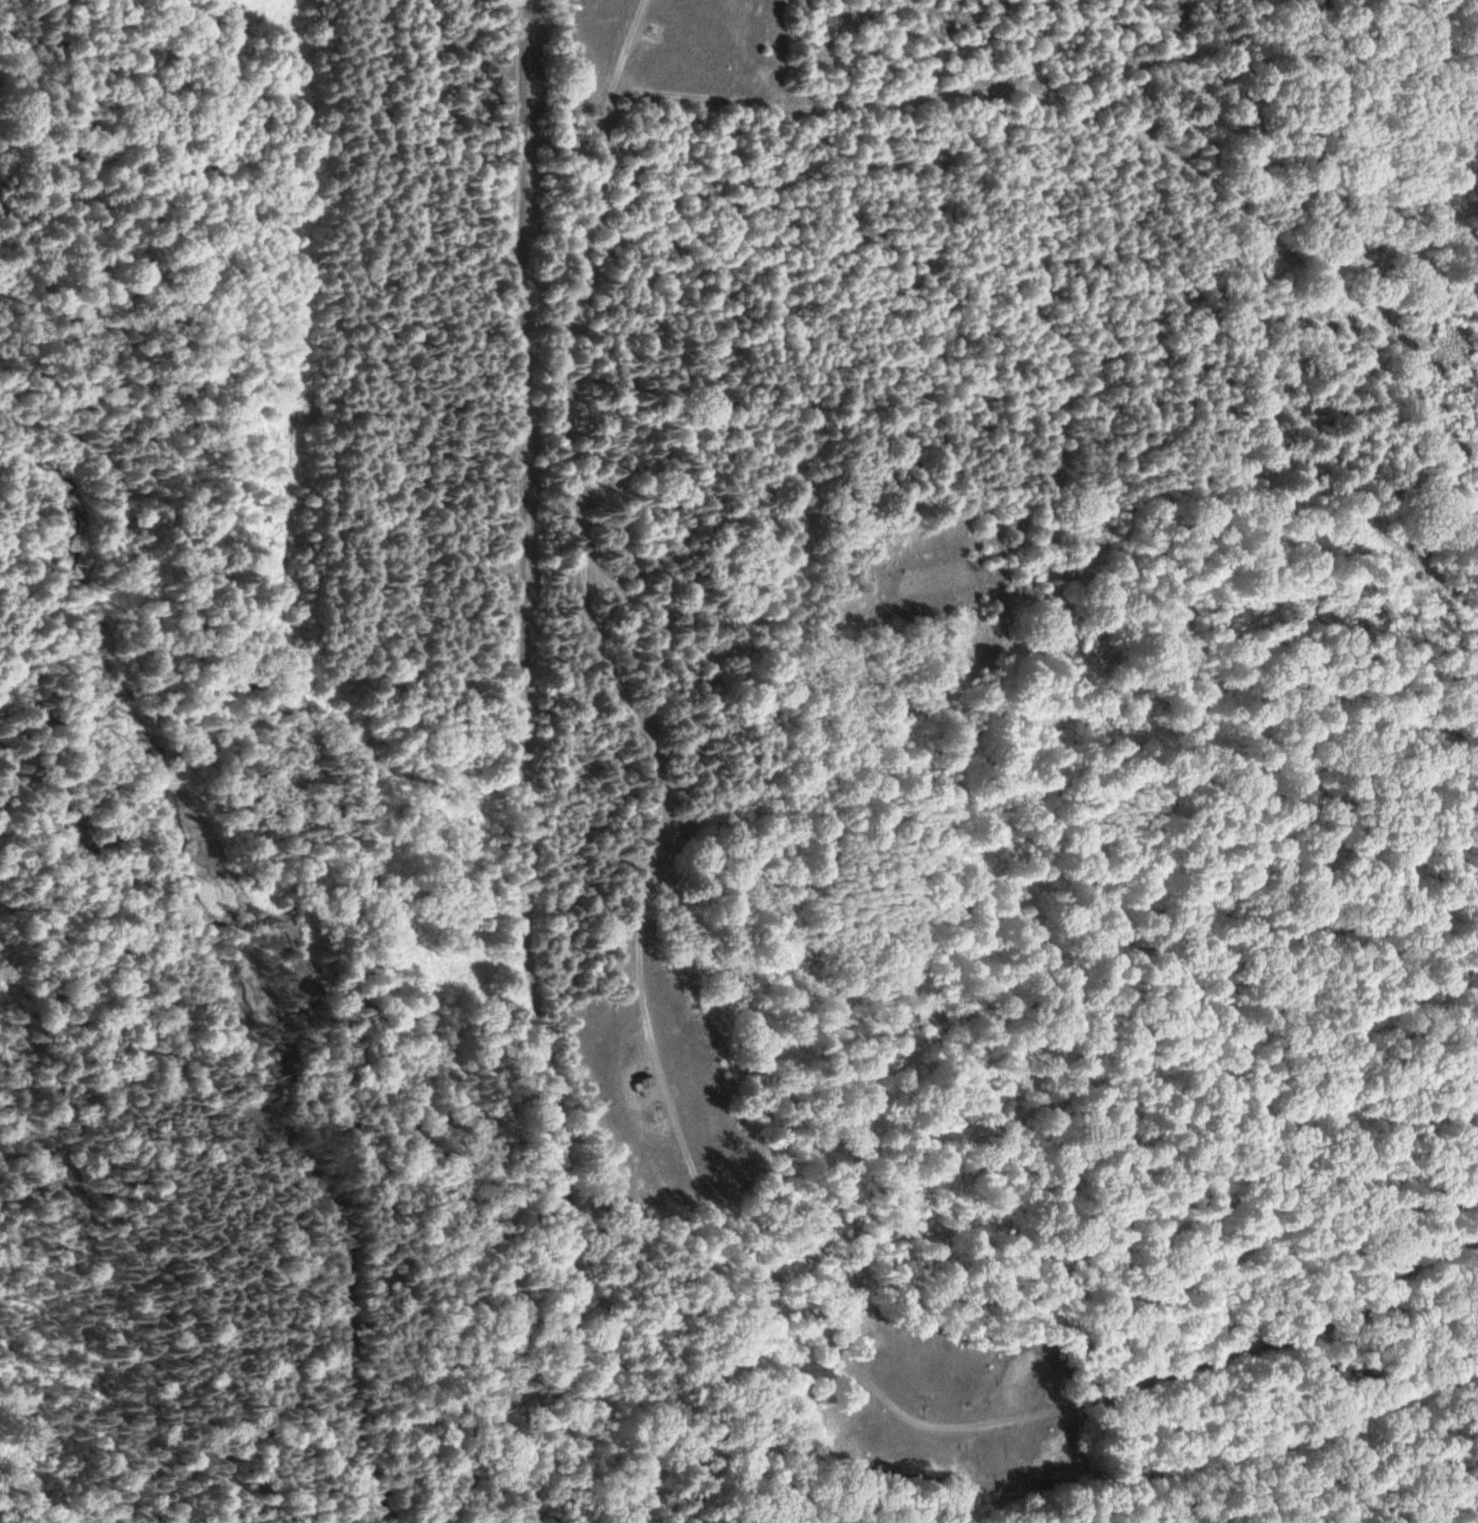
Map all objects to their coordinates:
road: (525, 397)
road: (107, 647)
road: (401, 776)
building: (641, 1085)
road: (548, 1156)
road: (1016, 1482)

